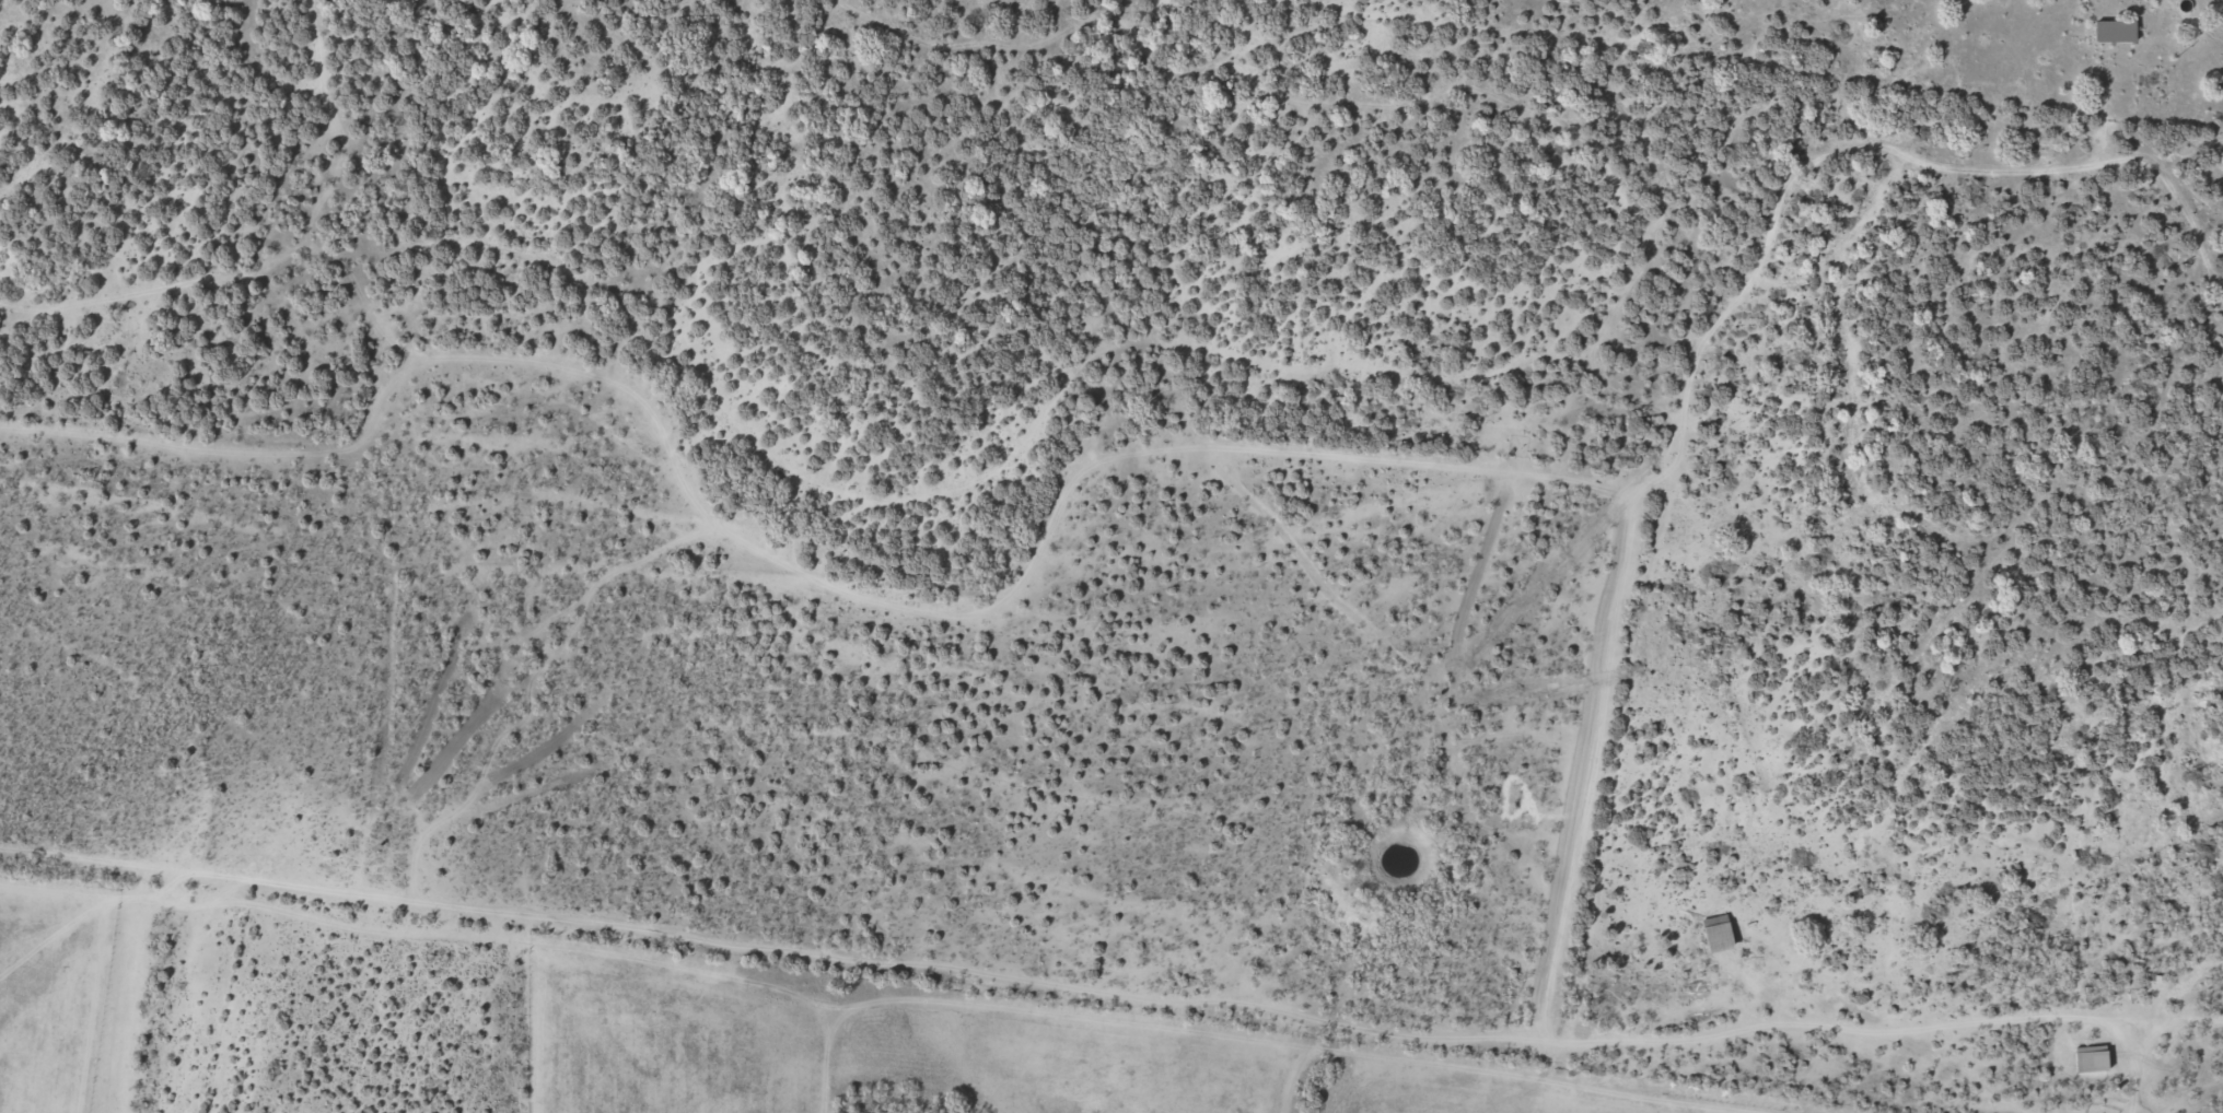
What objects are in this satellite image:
building: (2114, 32)
building: (2090, 1058)

